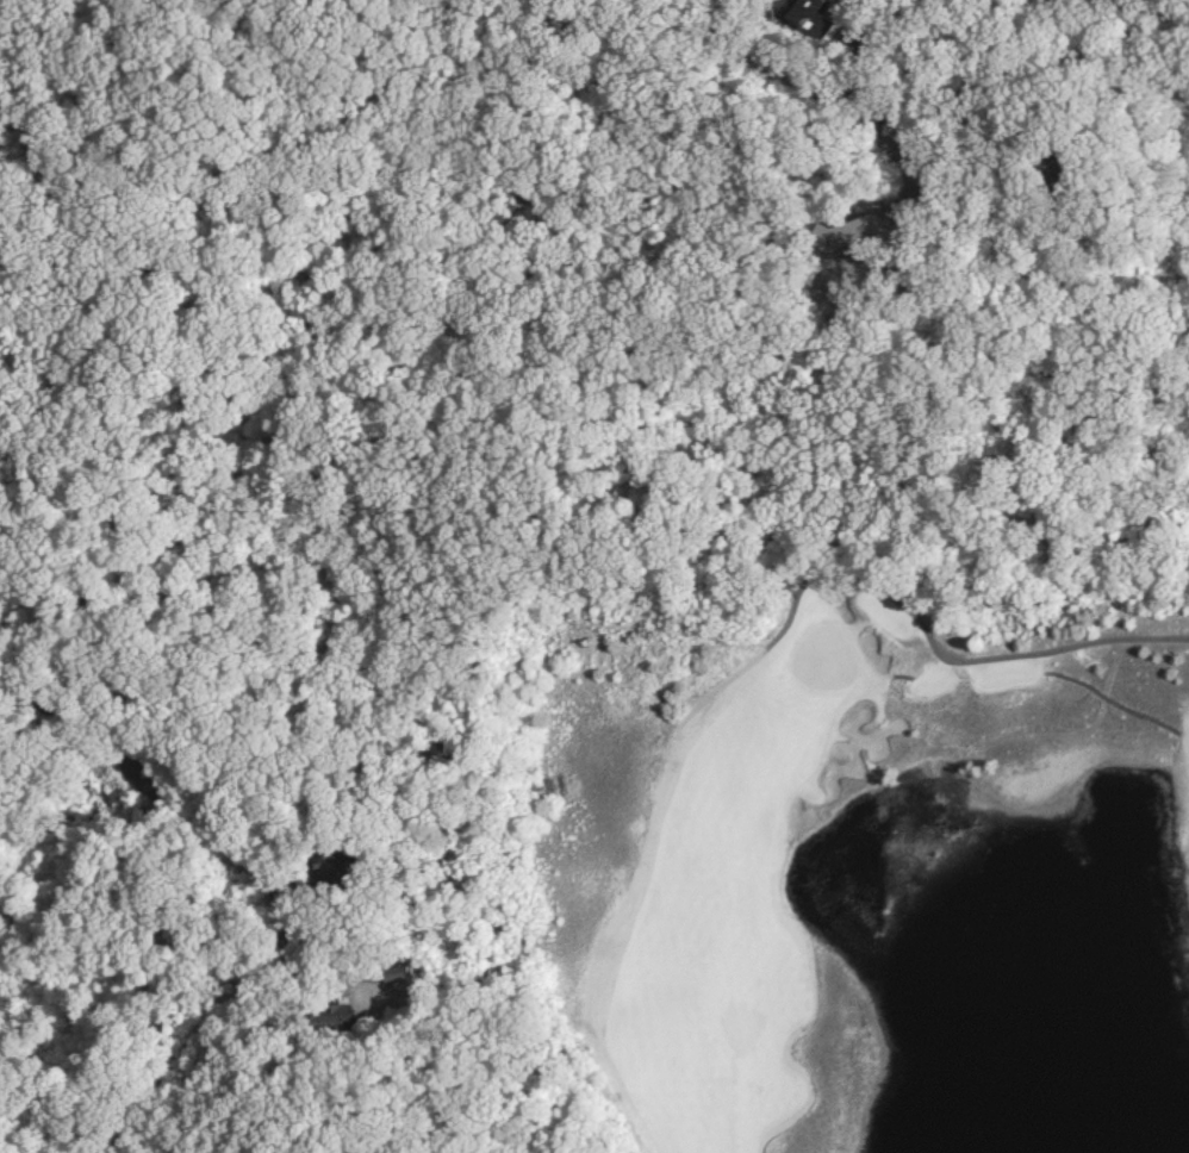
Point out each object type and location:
road: (533, 10)
building: (805, 15)
road: (284, 26)
road: (1115, 38)
road: (934, 114)
road: (953, 653)
road: (891, 672)
road: (954, 675)
road: (1100, 699)
road: (21, 702)
park: (827, 845)
road: (274, 955)

